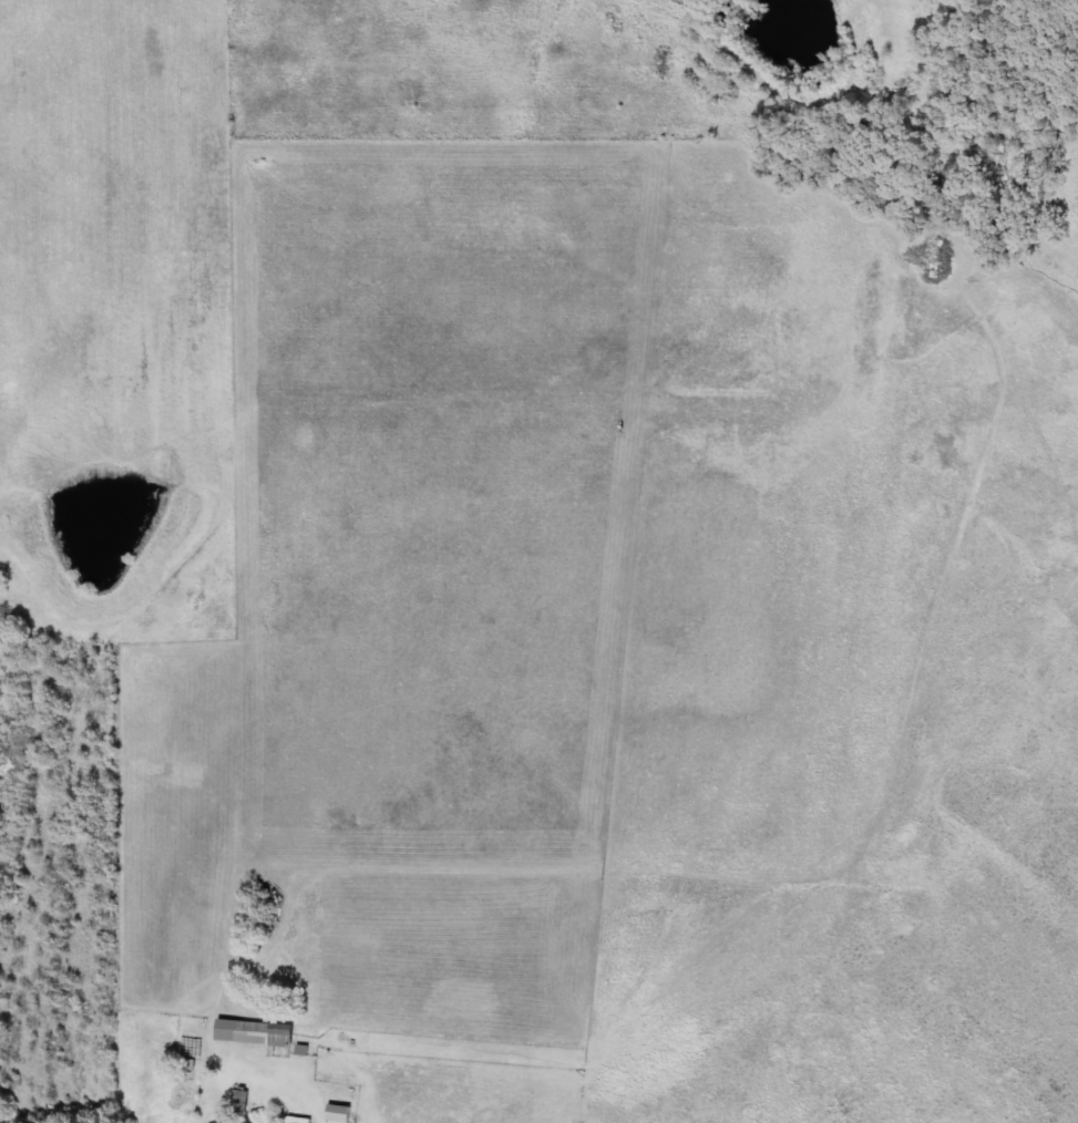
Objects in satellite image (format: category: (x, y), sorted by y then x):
building: (260, 1033)
building: (245, 1099)
building: (345, 1114)
building: (304, 1120)

